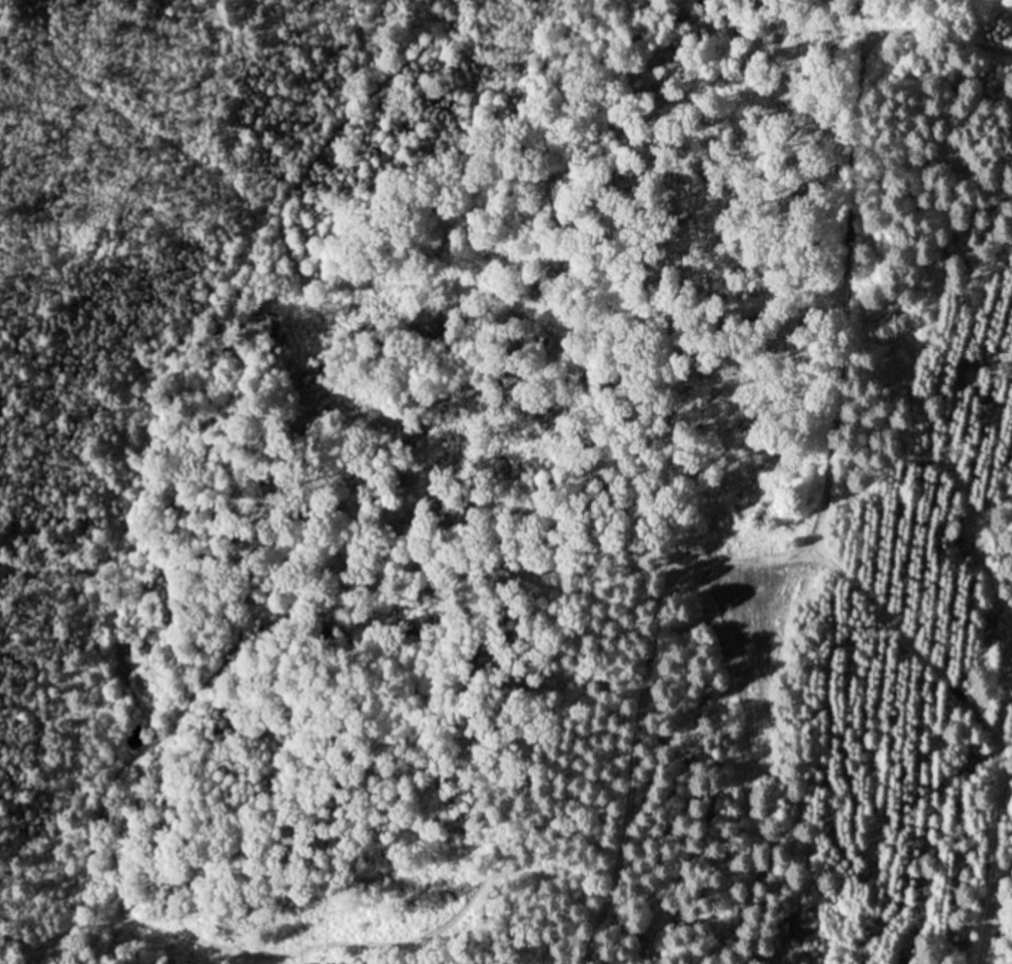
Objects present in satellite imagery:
road: (832, 459)
road: (986, 910)

